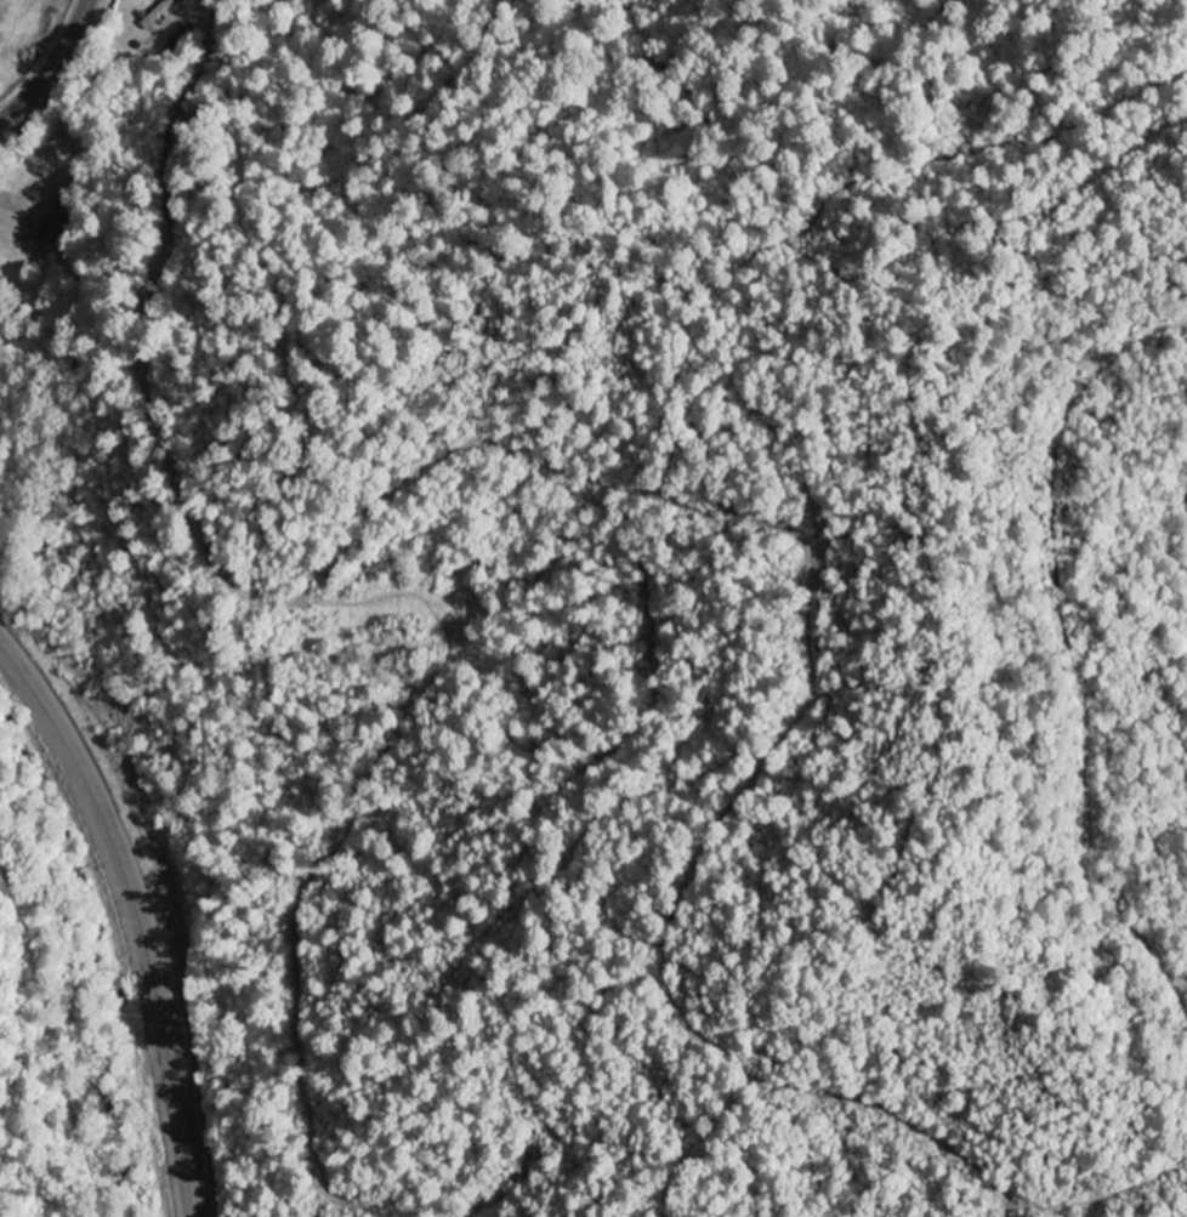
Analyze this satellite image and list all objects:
building: (161, 15)
road: (51, 66)
road: (137, 916)

